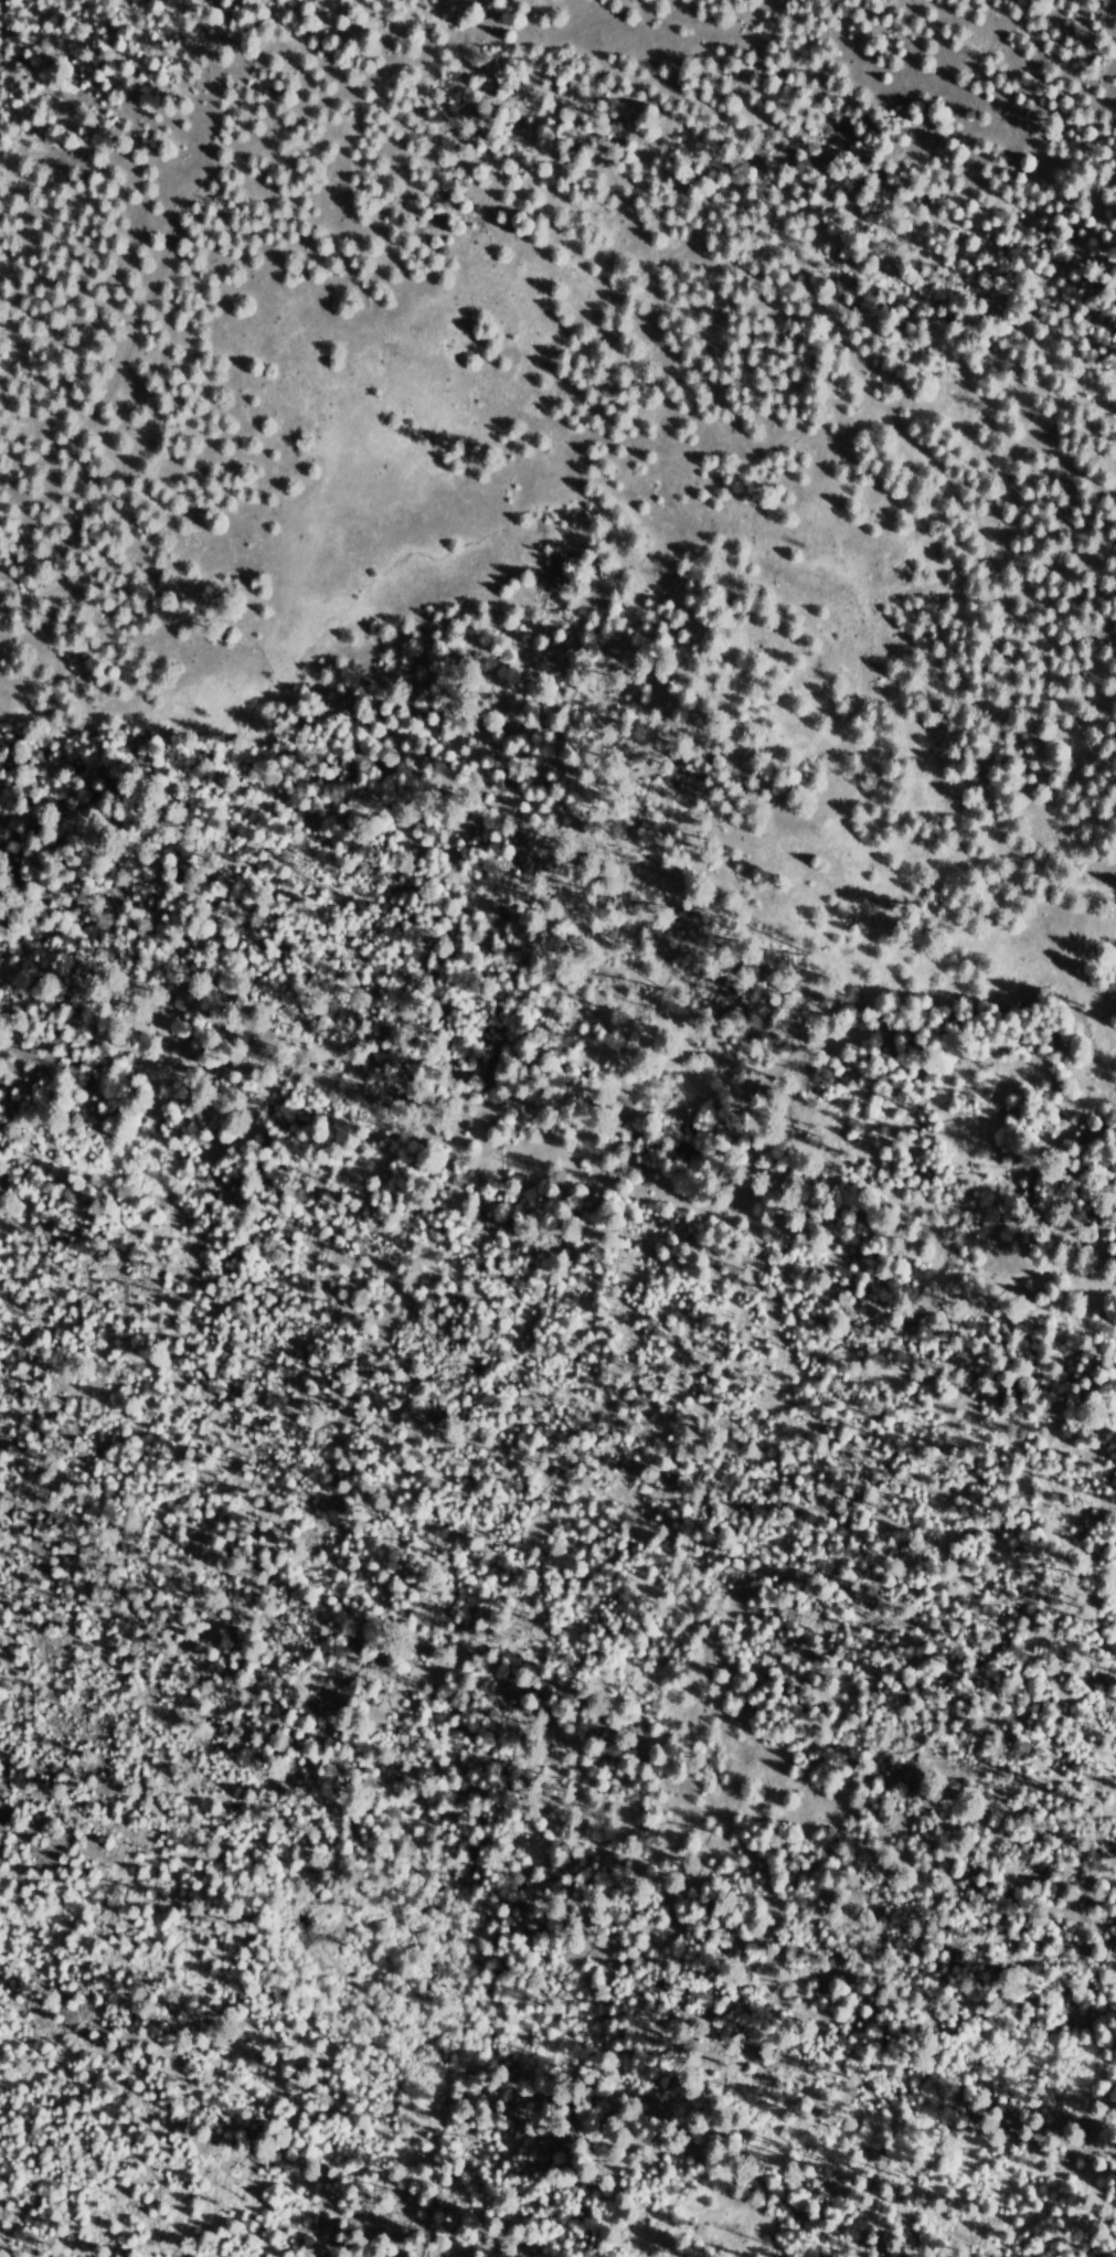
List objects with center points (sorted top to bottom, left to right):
road: (646, 19)
road: (747, 192)

